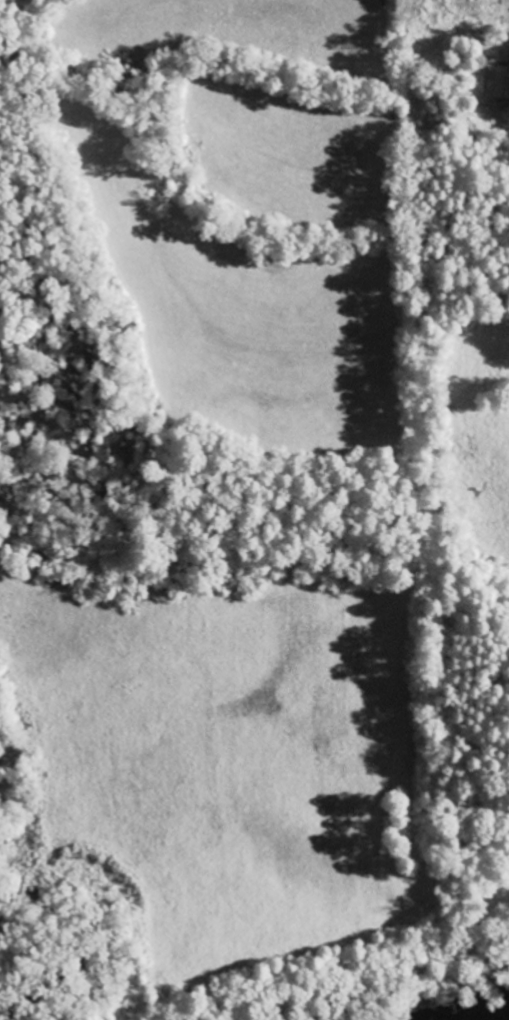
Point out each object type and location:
river: (483, 1011)

